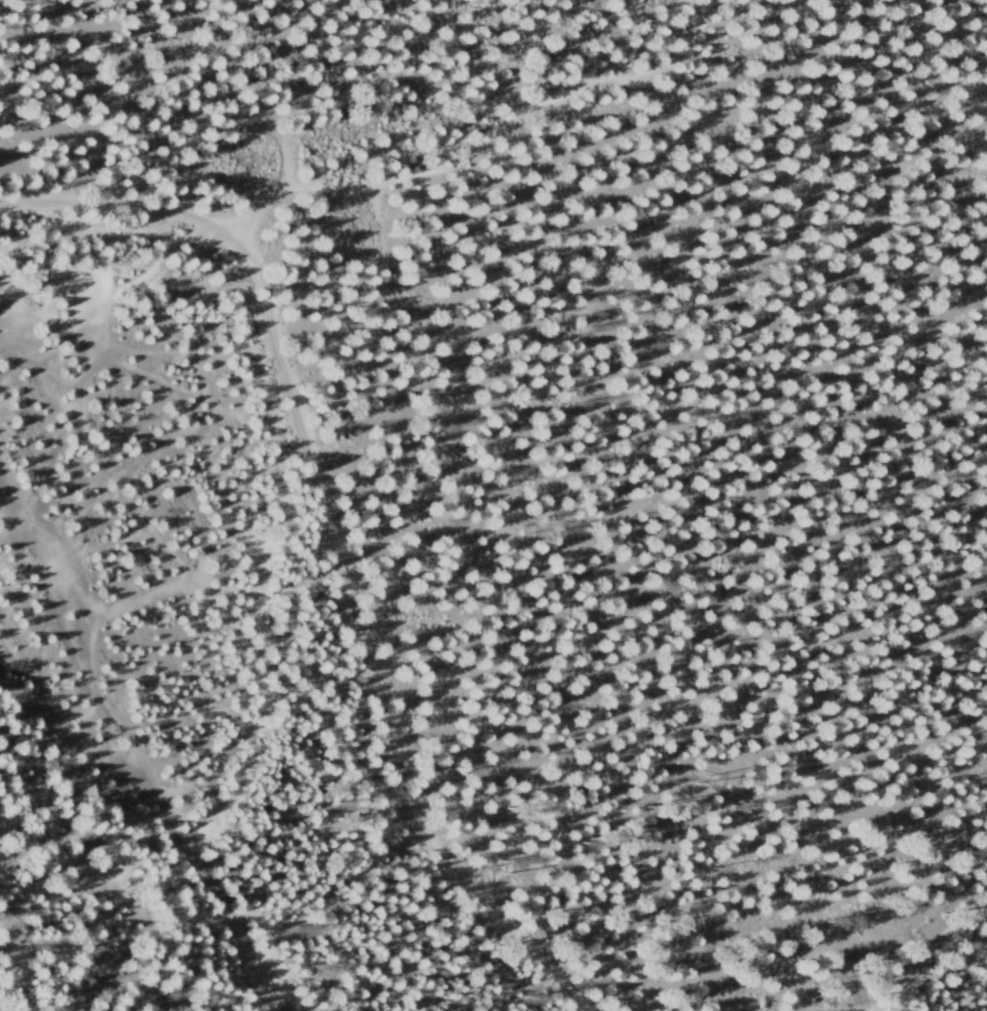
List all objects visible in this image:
road: (482, 143)
road: (6, 512)
road: (329, 540)
road: (70, 734)
road: (126, 747)
road: (926, 954)

